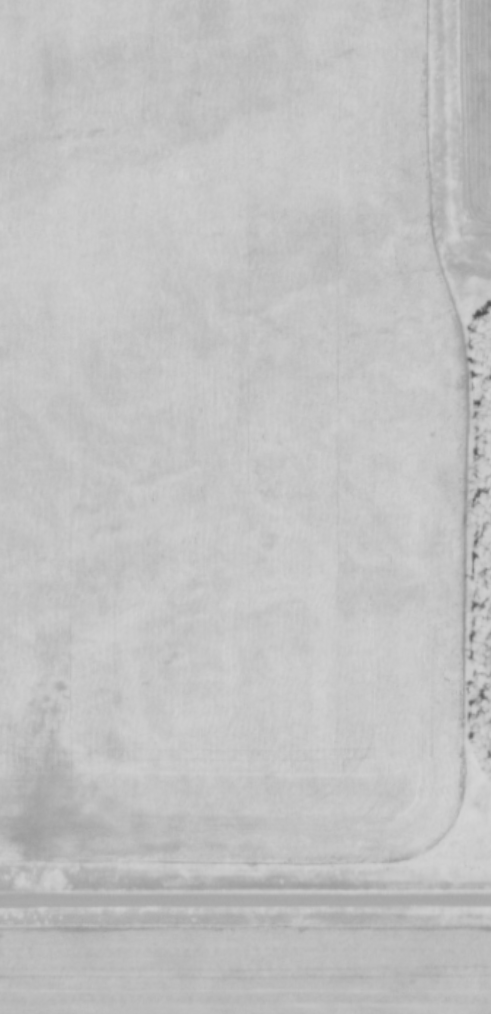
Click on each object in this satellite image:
road: (245, 897)

